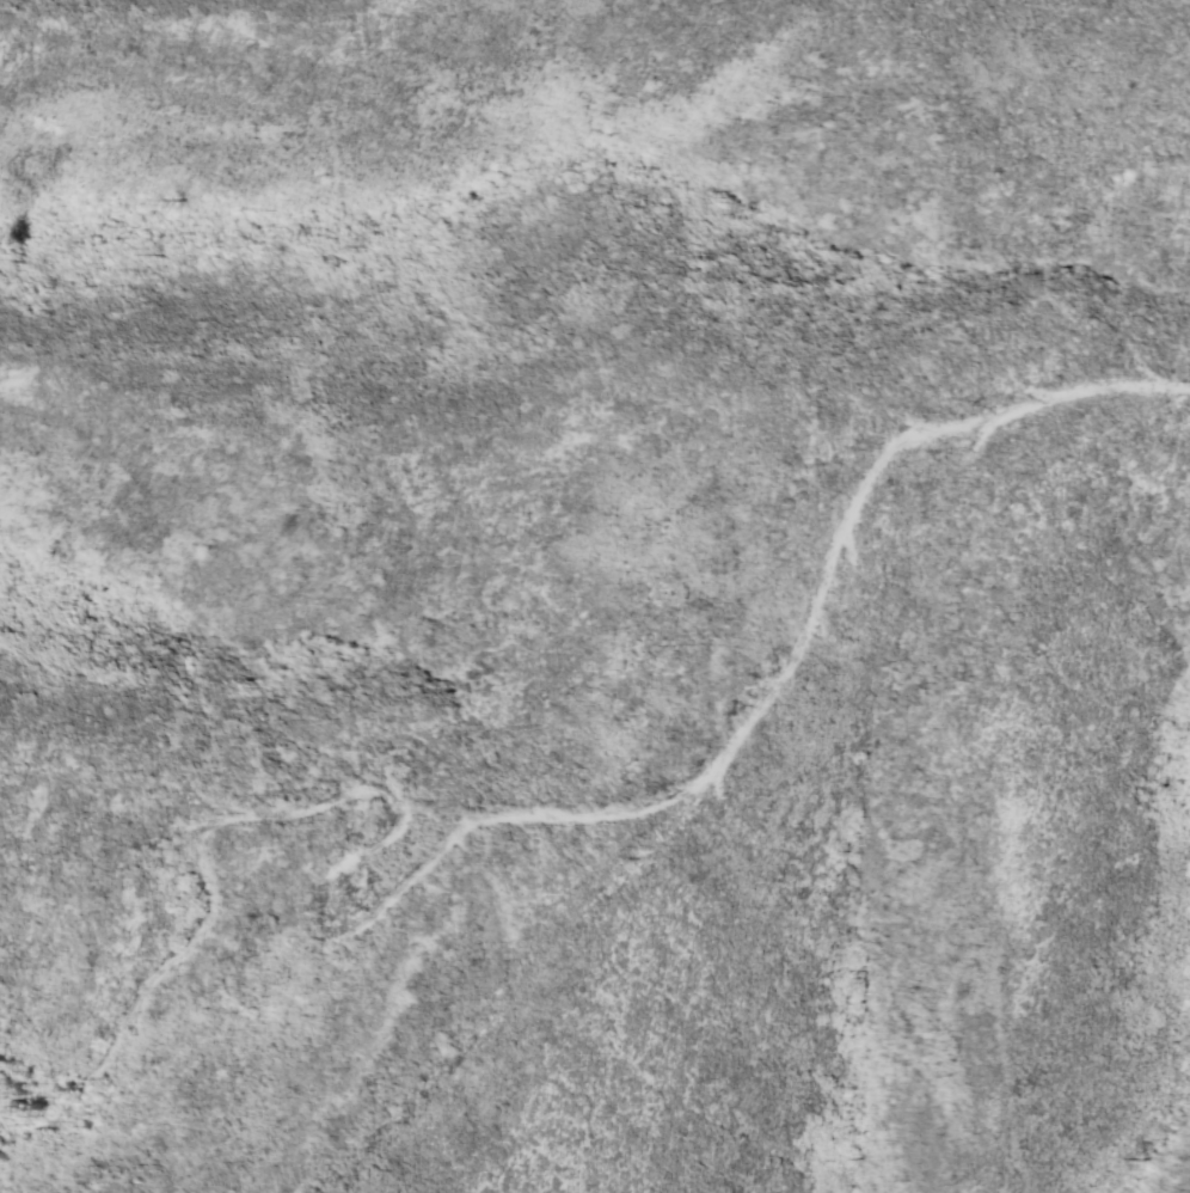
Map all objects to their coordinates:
road: (961, 430)
road: (372, 788)
road: (601, 901)

